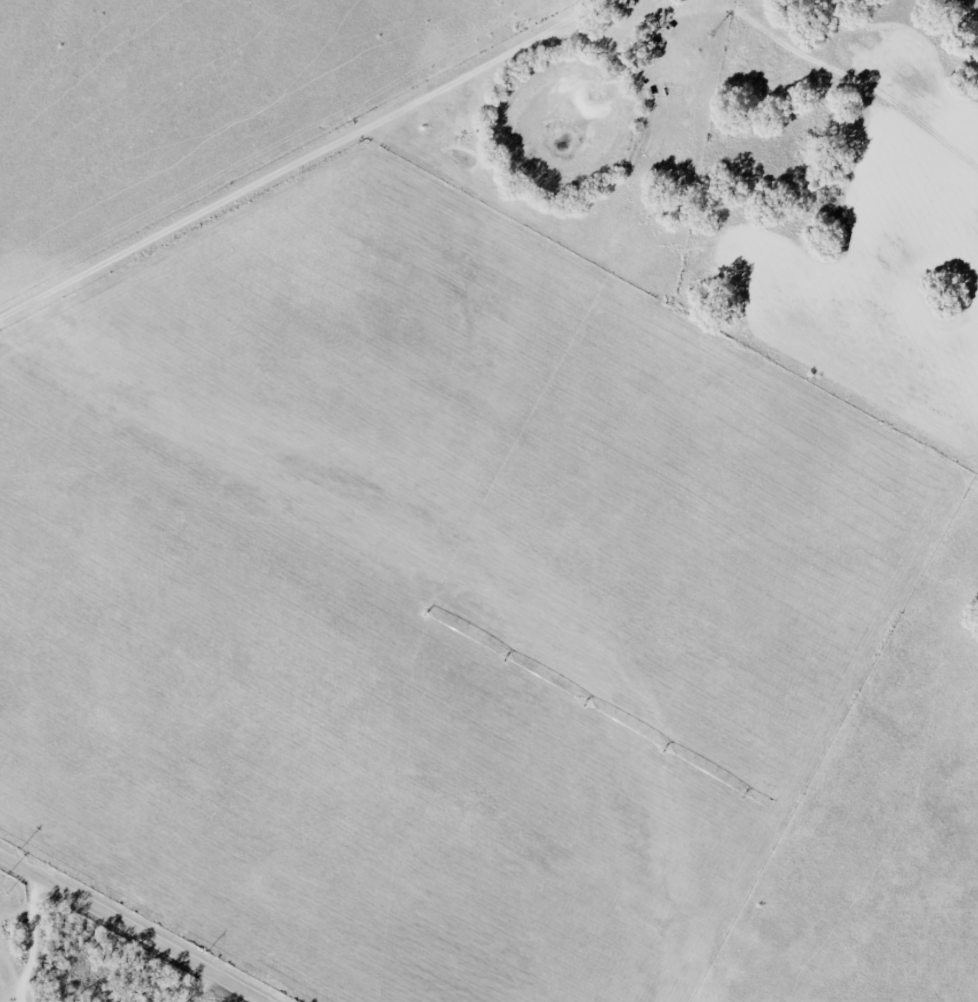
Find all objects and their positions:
road: (131, 929)
road: (32, 939)

